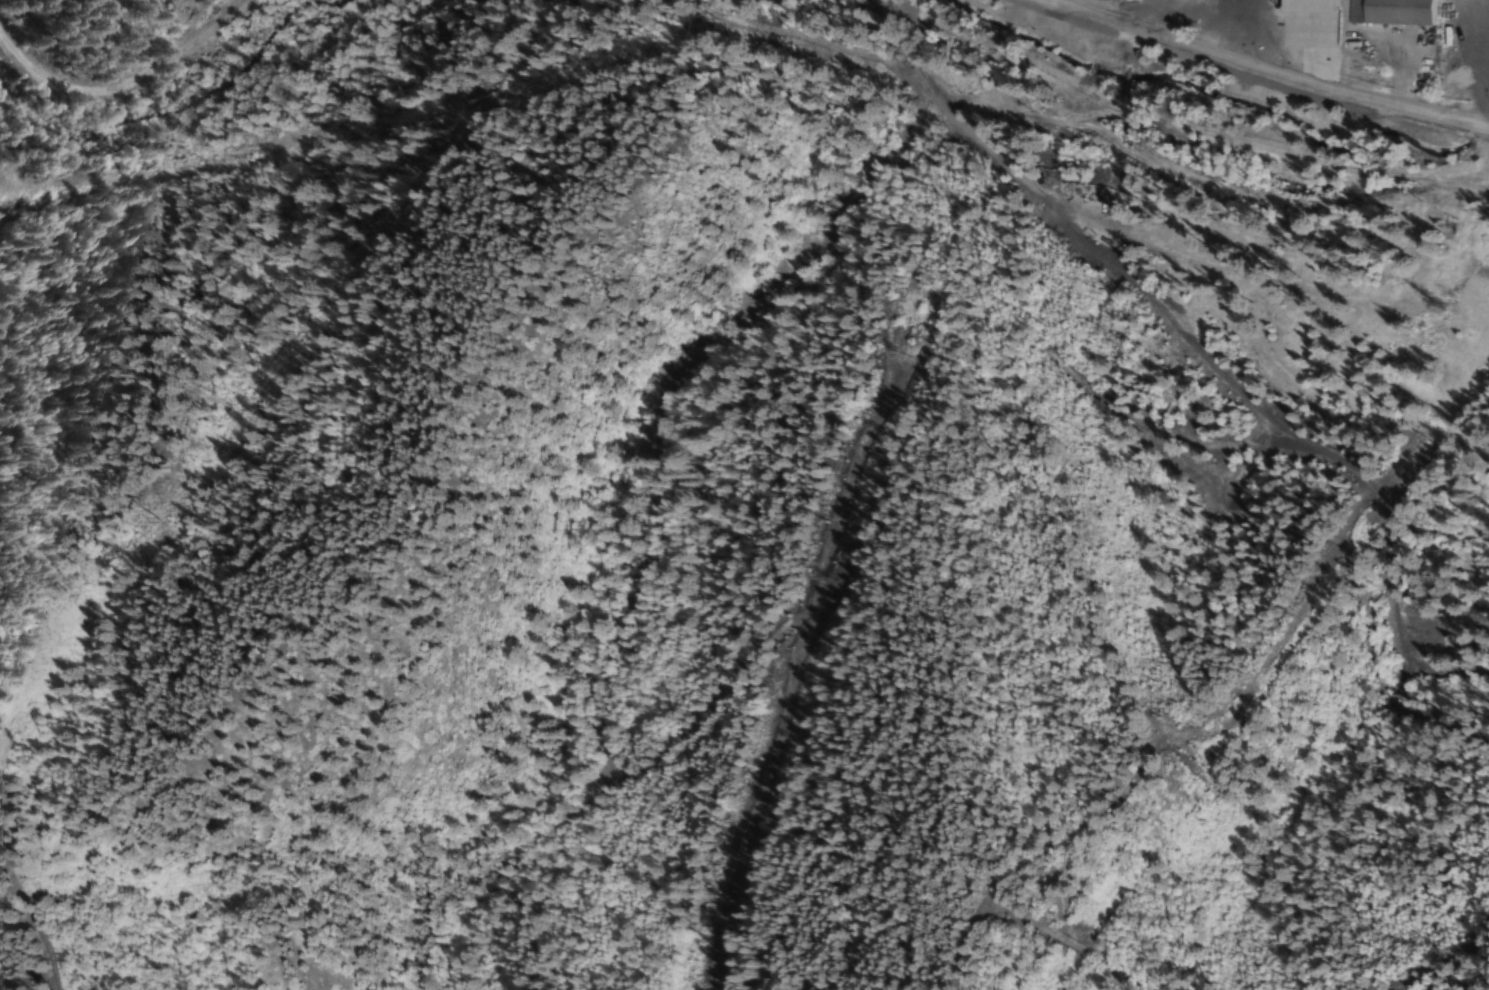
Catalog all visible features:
building: (1302, 6)
building: (1387, 12)
road: (1262, 72)
road: (129, 94)

